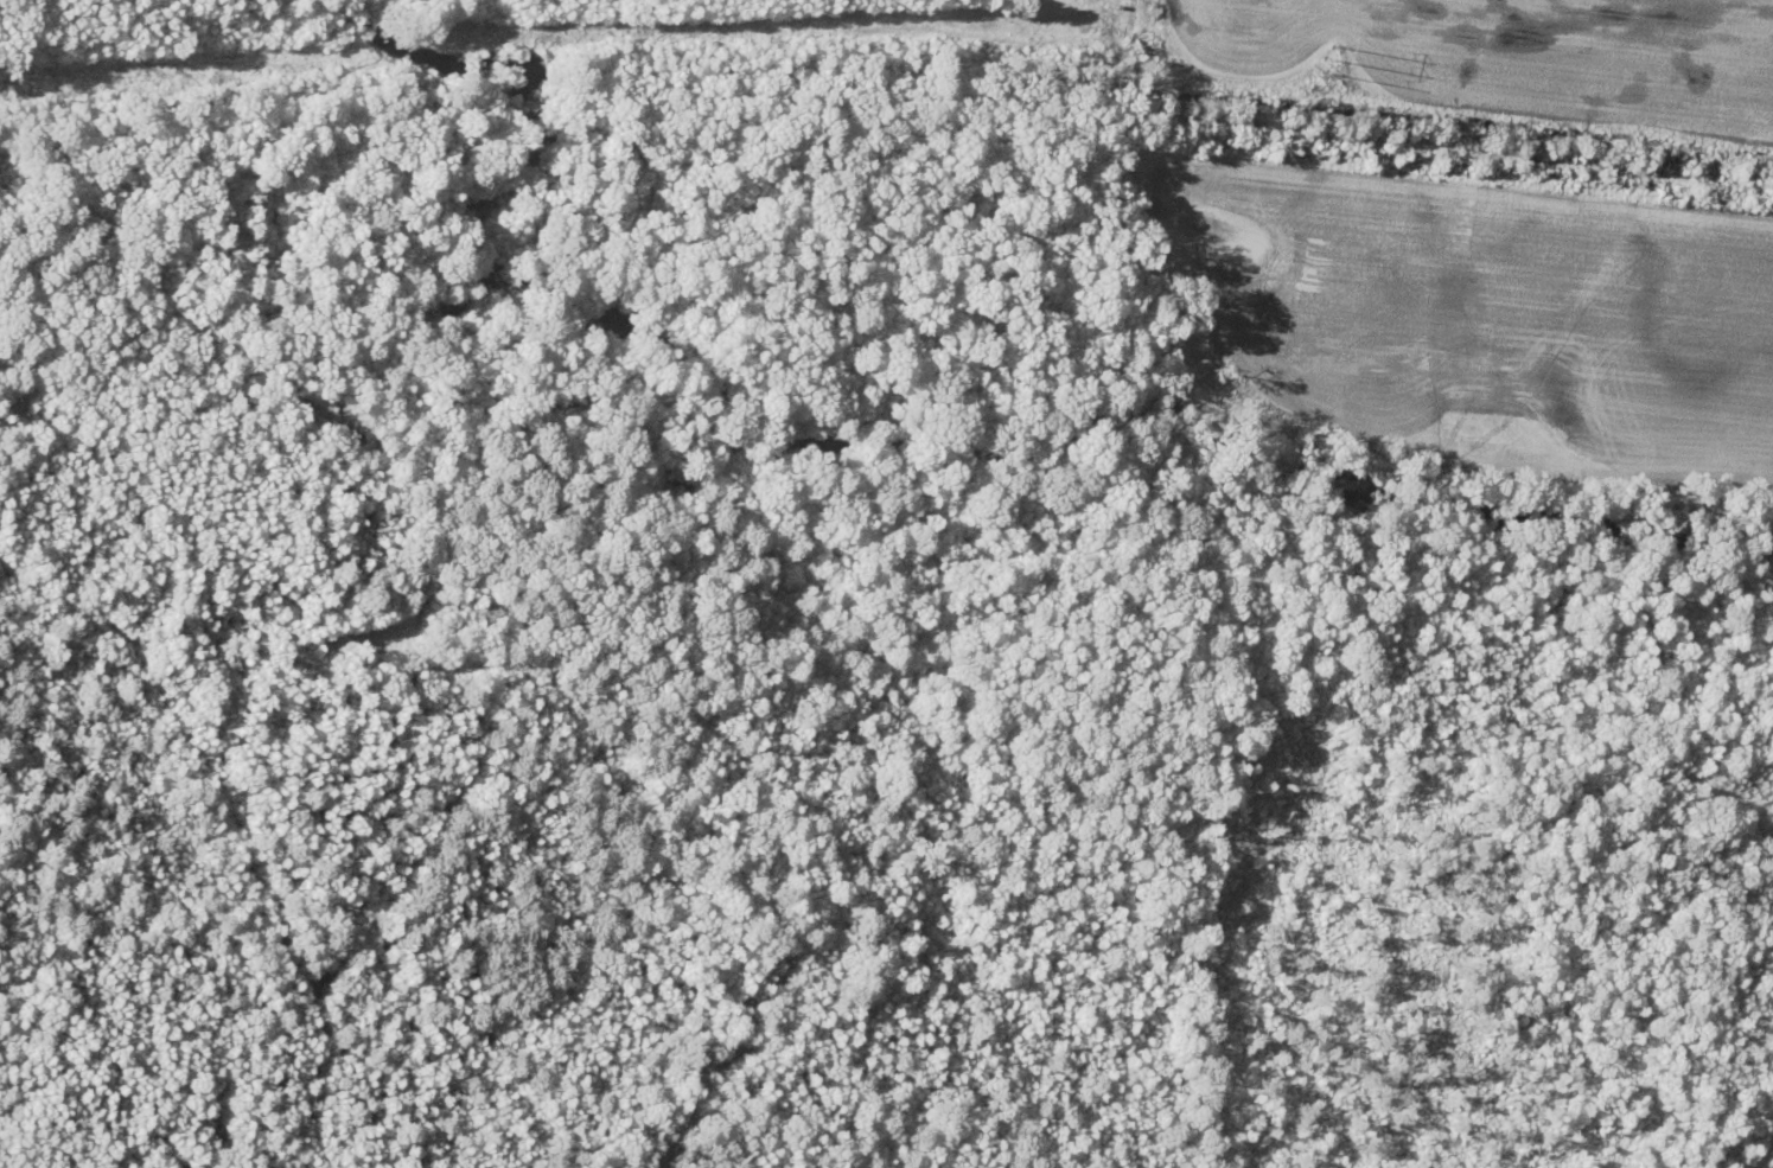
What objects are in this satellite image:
power tower: (1325, 55)
railway: (887, 98)

